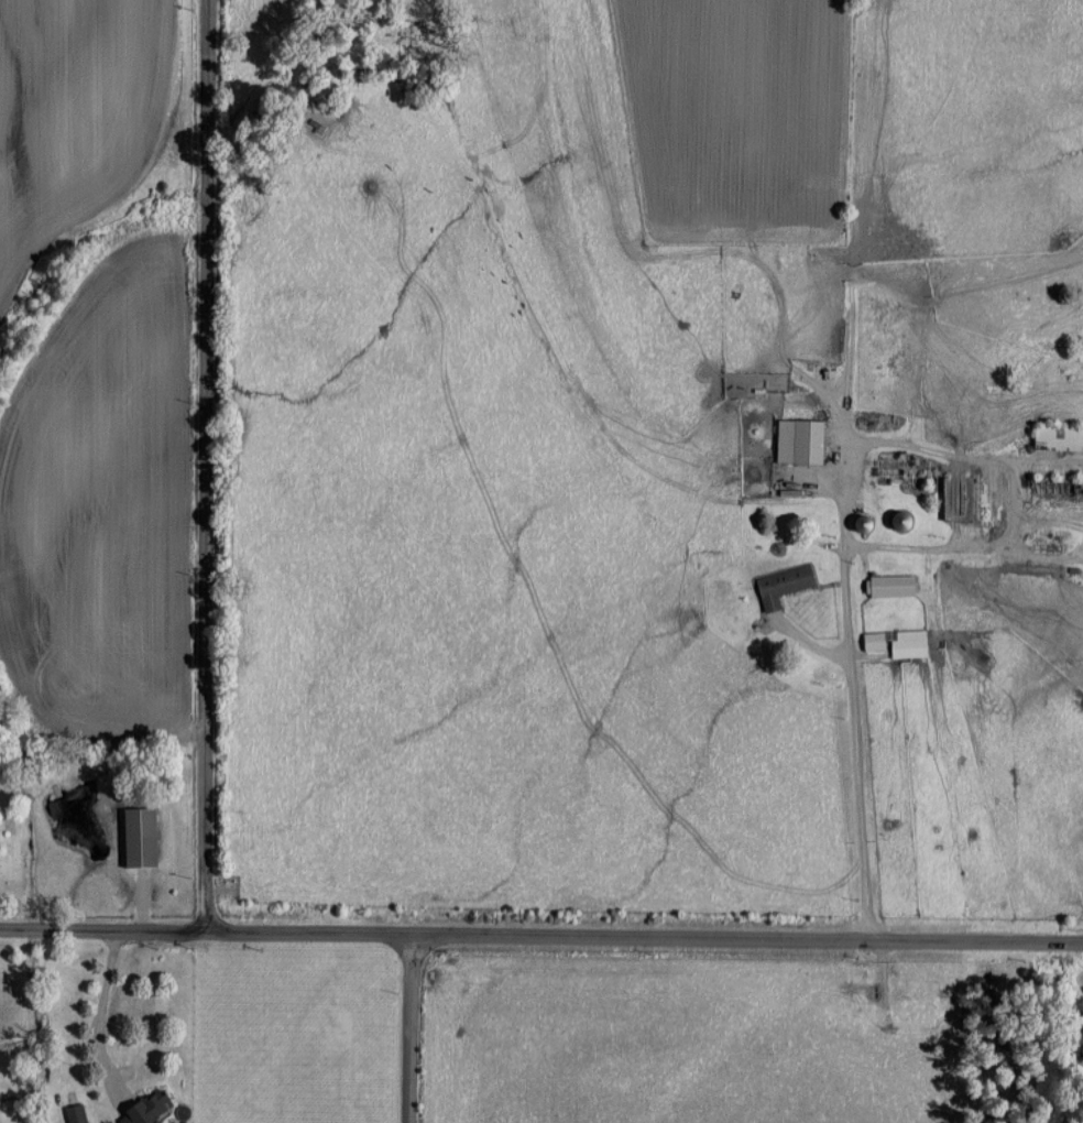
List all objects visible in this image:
building: (799, 439)
road: (205, 464)
road: (929, 546)
building: (783, 582)
building: (891, 585)
building: (898, 642)
road: (851, 679)
building: (140, 836)
road: (102, 928)
road: (644, 936)
road: (99, 1015)
road: (408, 1028)
building: (145, 1109)
building: (76, 1113)

